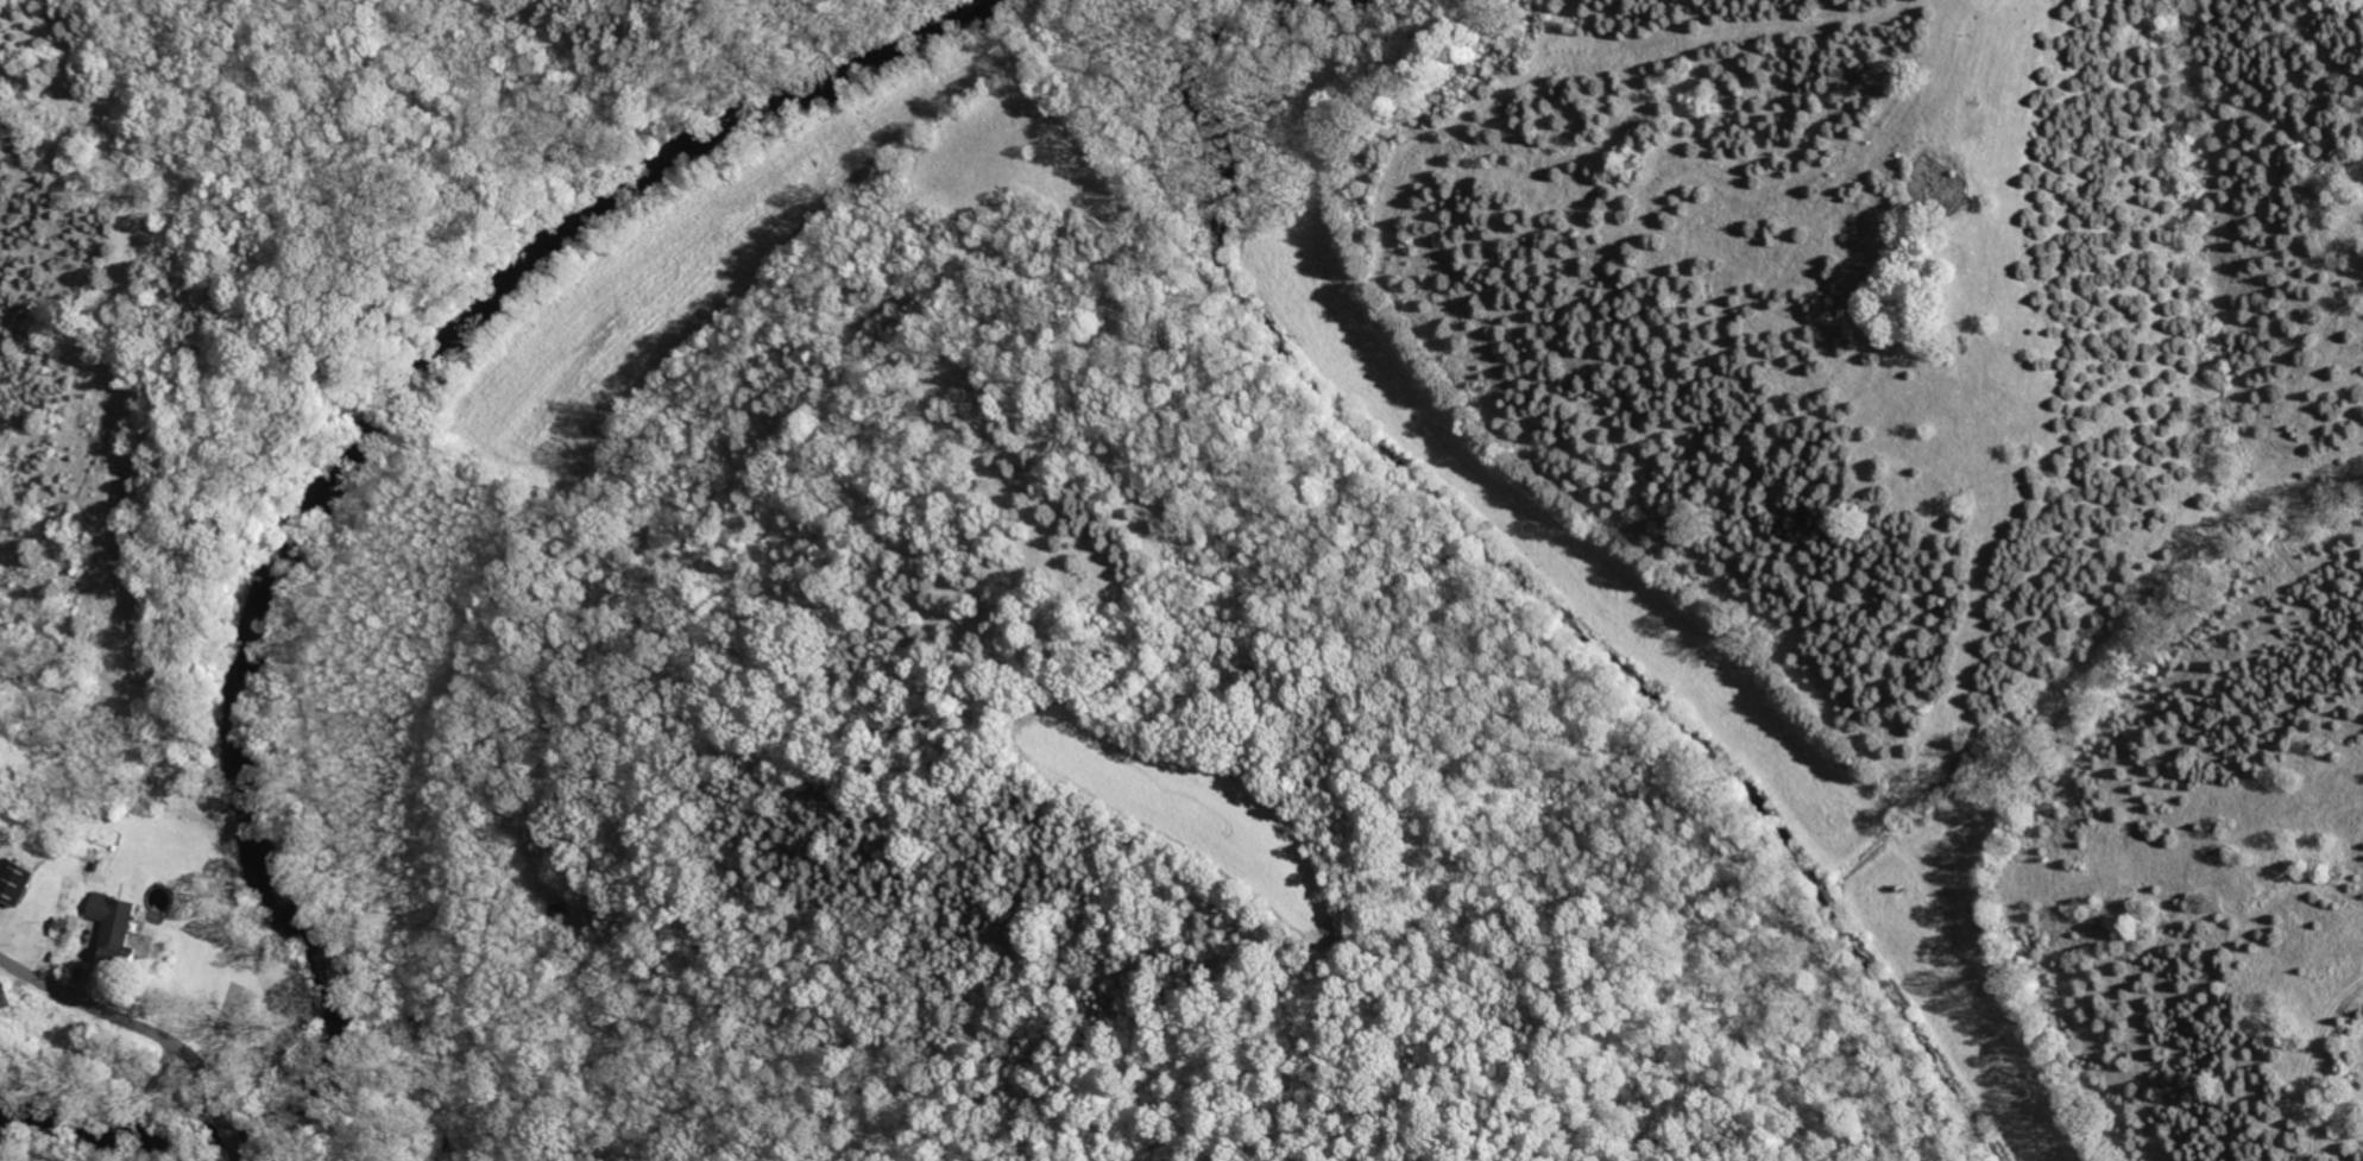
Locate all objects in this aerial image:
building: (112, 920)
road: (125, 1021)
road: (237, 1135)

